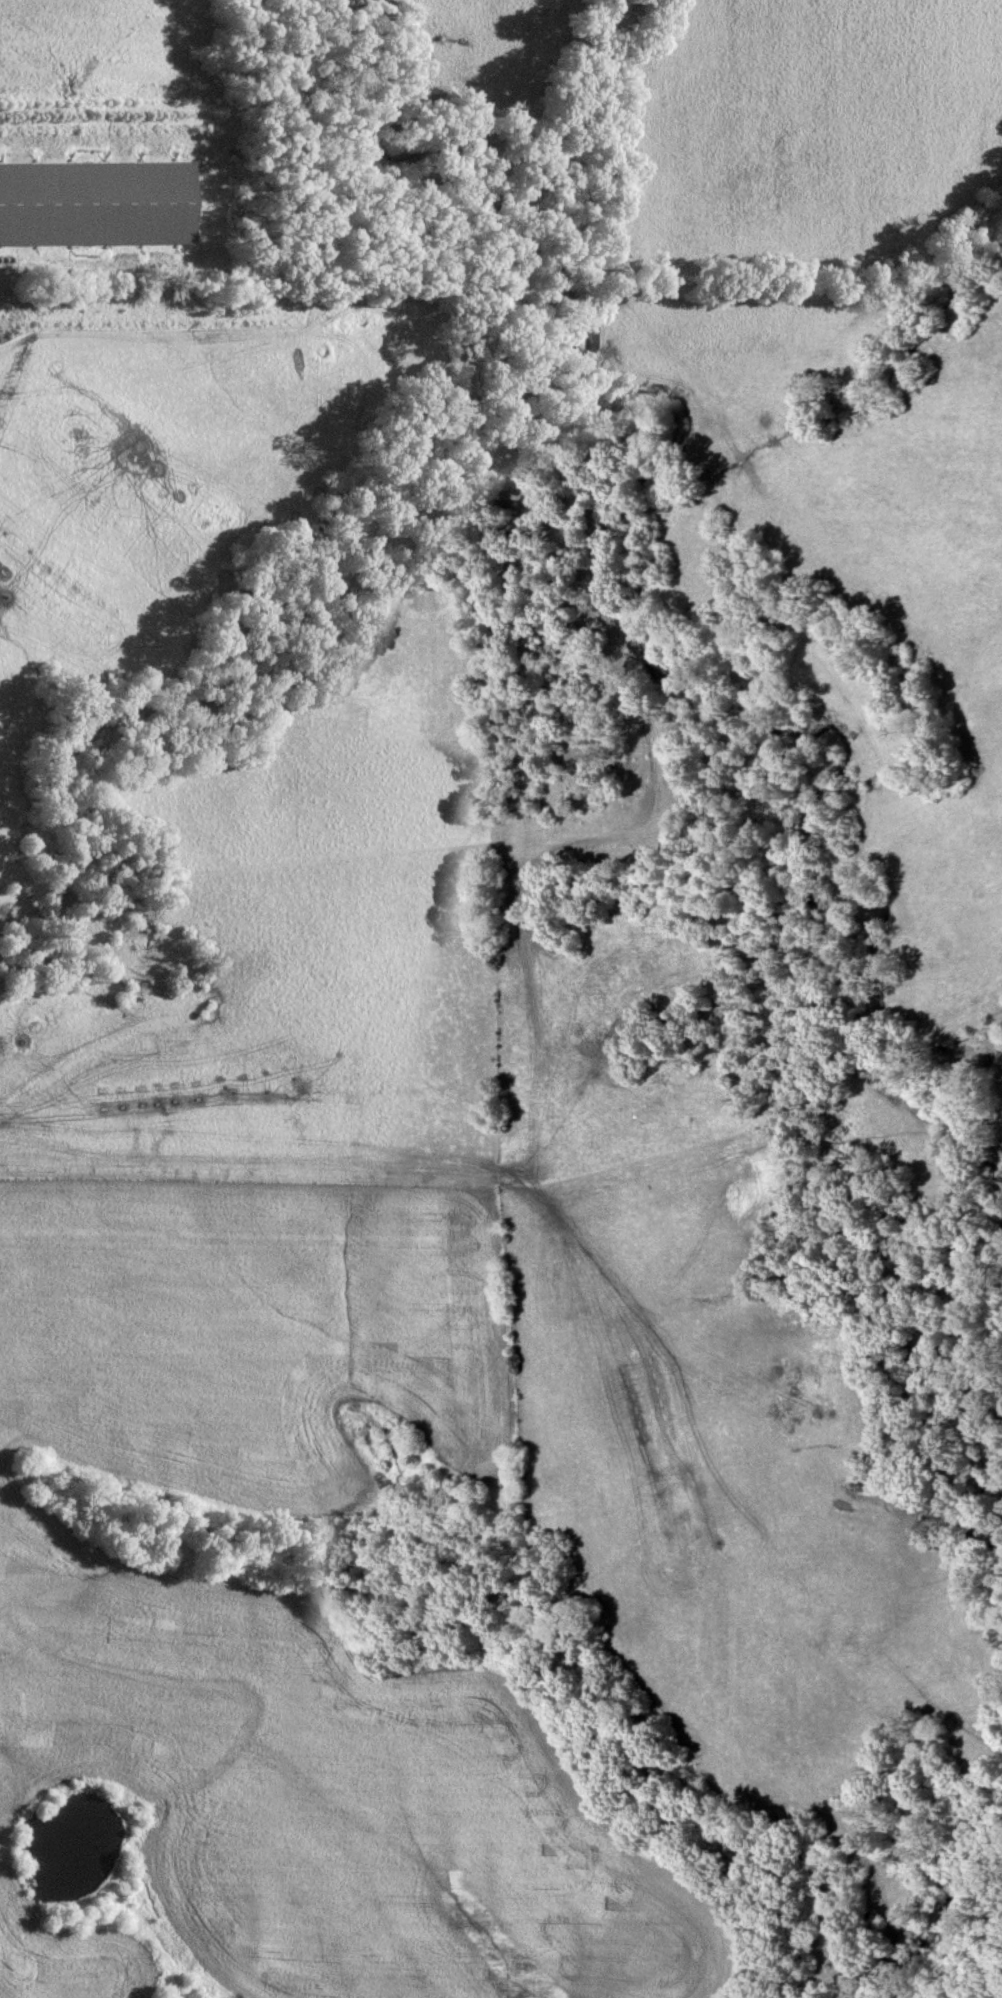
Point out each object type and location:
building: (96, 202)

